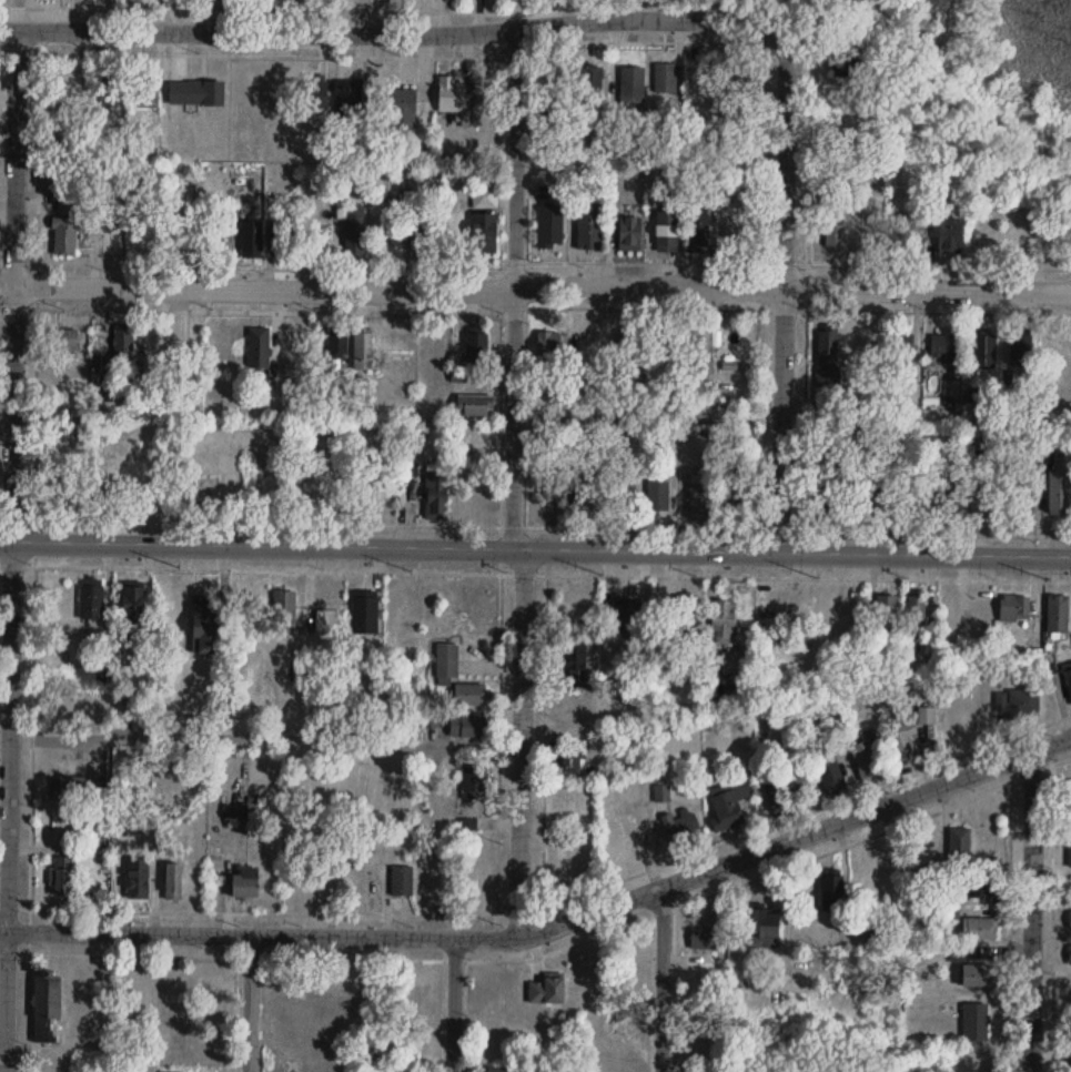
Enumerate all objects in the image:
road: (21, 6)
road: (388, 32)
road: (498, 57)
building: (845, 77)
building: (665, 78)
building: (741, 78)
building: (590, 81)
building: (633, 85)
building: (109, 90)
building: (148, 92)
building: (196, 92)
building: (316, 94)
building: (451, 94)
building: (348, 100)
building: (401, 107)
building: (485, 196)
building: (550, 225)
building: (589, 225)
building: (354, 230)
building: (667, 231)
building: (484, 232)
building: (698, 232)
building: (629, 233)
building: (900, 233)
building: (67, 234)
building: (836, 234)
building: (950, 236)
building: (251, 239)
building: (284, 239)
building: (422, 239)
road: (939, 265)
road: (806, 285)
road: (535, 287)
road: (784, 292)
road: (919, 311)
building: (62, 340)
building: (827, 343)
building: (944, 344)
building: (123, 345)
building: (548, 345)
building: (339, 347)
building: (476, 347)
building: (259, 348)
building: (901, 348)
building: (986, 348)
building: (1021, 350)
building: (363, 351)
building: (627, 351)
building: (704, 352)
building: (828, 376)
building: (707, 391)
building: (474, 405)
building: (59, 477)
road: (515, 483)
building: (553, 484)
building: (624, 491)
building: (946, 491)
building: (1059, 492)
building: (973, 493)
building: (435, 494)
building: (699, 494)
building: (658, 495)
building: (587, 497)
building: (827, 497)
road: (535, 526)
road: (11, 535)
road: (535, 549)
road: (535, 573)
building: (92, 600)
building: (133, 604)
building: (1014, 607)
building: (283, 608)
building: (917, 608)
building: (625, 609)
building: (886, 610)
building: (1058, 613)
building: (364, 614)
building: (685, 619)
building: (724, 620)
building: (204, 628)
building: (574, 655)
building: (447, 658)
building: (736, 661)
building: (1068, 674)
building: (469, 694)
building: (1019, 702)
building: (573, 709)
road: (31, 714)
building: (927, 715)
building: (466, 726)
road: (261, 735)
building: (902, 741)
building: (568, 759)
building: (866, 759)
building: (829, 772)
building: (474, 780)
building: (73, 792)
building: (663, 792)
building: (1069, 796)
building: (788, 797)
building: (729, 802)
building: (681, 828)
road: (871, 833)
building: (959, 843)
building: (1070, 854)
building: (61, 876)
building: (138, 878)
building: (173, 880)
building: (402, 880)
building: (245, 882)
building: (982, 884)
building: (831, 892)
road: (550, 902)
road: (1030, 911)
building: (1070, 919)
road: (1051, 920)
road: (550, 926)
building: (979, 928)
road: (1008, 928)
building: (741, 933)
building: (1070, 953)
road: (341, 957)
building: (978, 974)
road: (661, 980)
building: (555, 991)
building: (178, 992)
road: (250, 1002)
road: (454, 1003)
building: (47, 1008)
building: (976, 1021)
building: (169, 1052)
building: (492, 1069)

